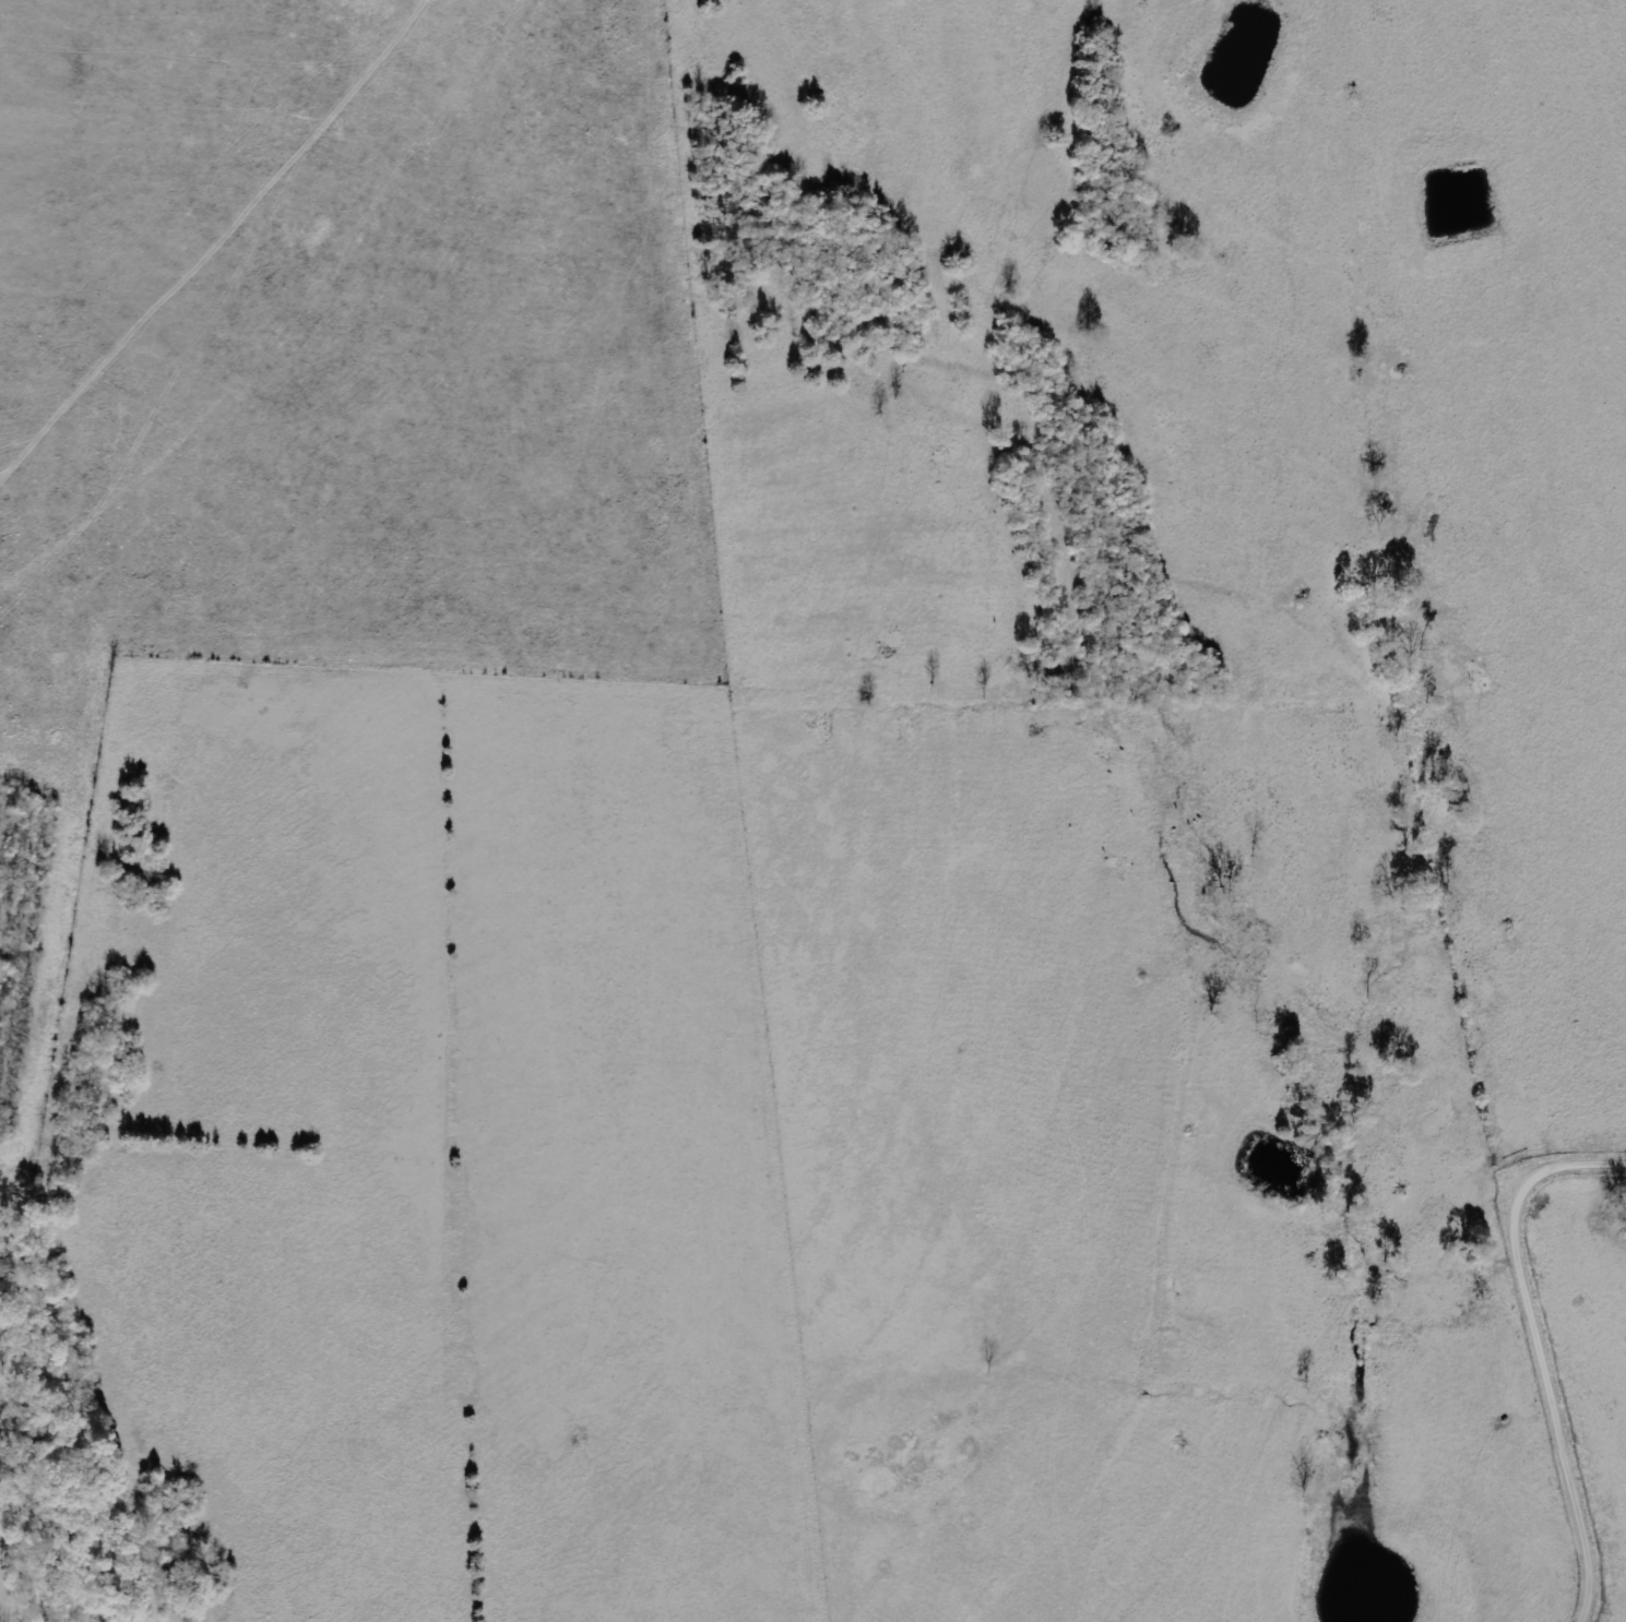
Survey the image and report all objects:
road: (1545, 1357)

